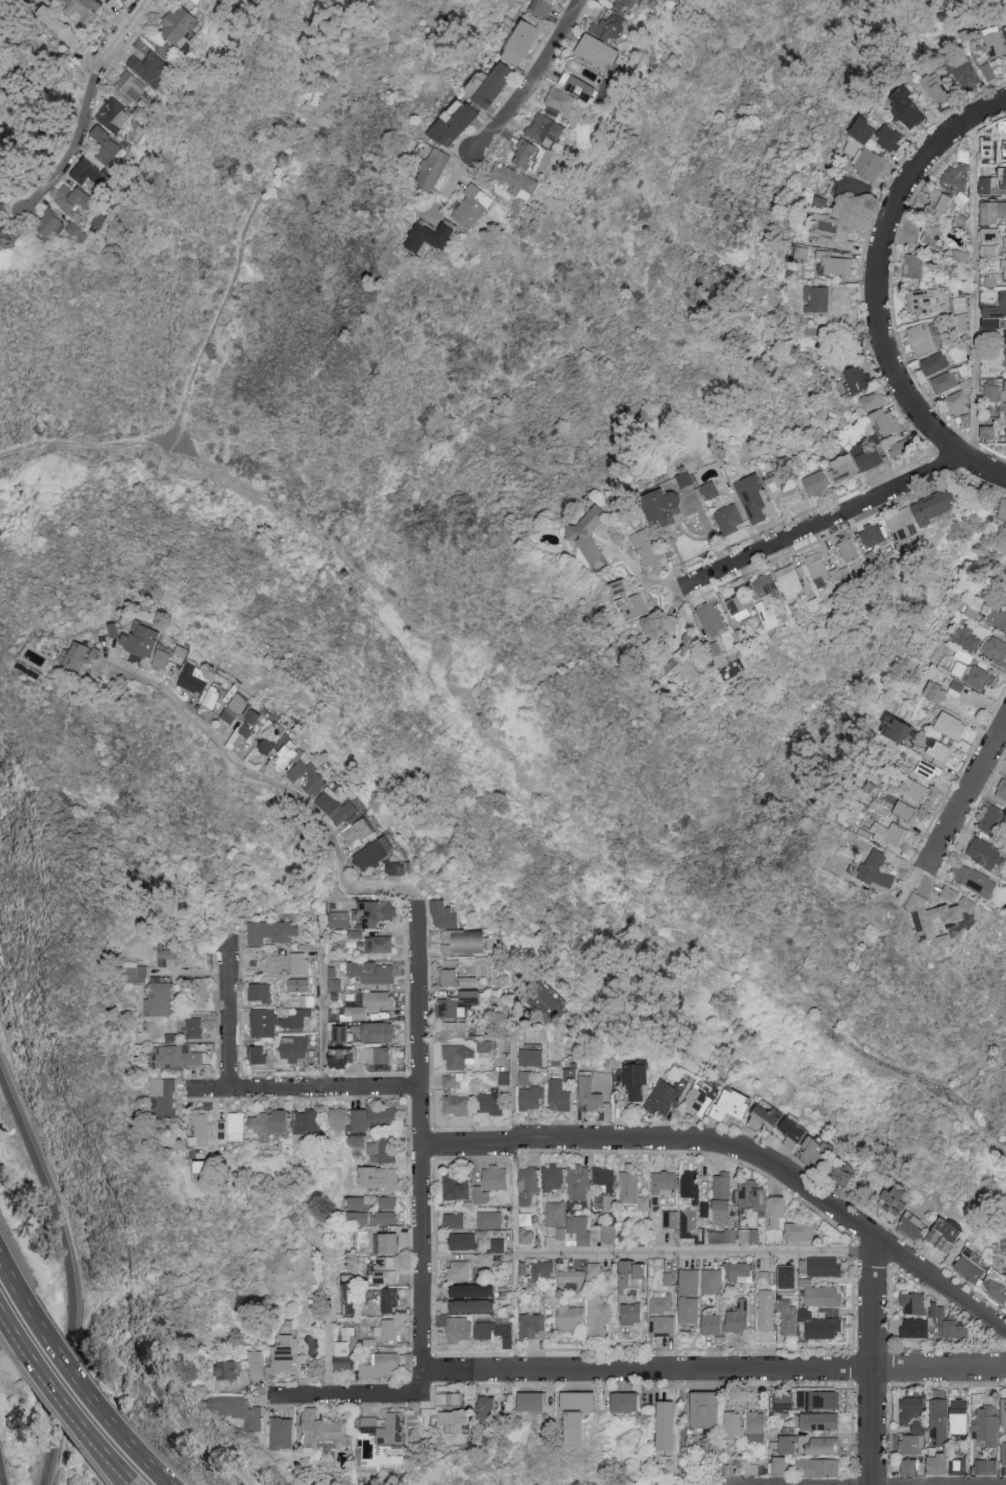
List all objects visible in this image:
building: (679, 0)
building: (199, 1)
building: (204, 1)
building: (628, 3)
building: (542, 7)
building: (87, 9)
building: (58, 25)
building: (179, 25)
building: (521, 43)
building: (598, 45)
building: (994, 45)
building: (167, 50)
building: (149, 68)
building: (987, 72)
building: (966, 75)
road: (534, 82)
building: (491, 86)
building: (577, 87)
building: (935, 89)
building: (130, 90)
building: (561, 101)
road: (90, 106)
building: (907, 109)
building: (113, 116)
building: (454, 123)
building: (1003, 126)
building: (544, 129)
building: (864, 130)
building: (889, 138)
building: (106, 145)
building: (987, 148)
building: (1004, 151)
building: (524, 154)
building: (869, 164)
building: (432, 169)
building: (957, 173)
building: (91, 174)
building: (514, 180)
building: (992, 182)
road: (449, 183)
building: (852, 191)
building: (74, 202)
building: (939, 204)
building: (471, 207)
building: (4, 211)
building: (993, 212)
building: (959, 222)
building: (56, 226)
building: (833, 232)
building: (10, 234)
building: (434, 234)
building: (930, 234)
building: (989, 235)
building: (1005, 239)
building: (992, 249)
building: (801, 253)
building: (961, 256)
building: (836, 263)
building: (914, 266)
road: (880, 270)
building: (1004, 270)
building: (992, 280)
road: (978, 293)
building: (816, 300)
building: (922, 303)
building: (958, 304)
building: (996, 307)
building: (962, 321)
building: (994, 323)
building: (1005, 336)
building: (922, 340)
building: (934, 364)
building: (856, 379)
building: (943, 383)
building: (992, 389)
building: (1004, 390)
building: (873, 402)
building: (958, 403)
building: (1003, 411)
building: (966, 421)
building: (885, 422)
building: (988, 433)
road: (86, 447)
building: (899, 449)
building: (866, 457)
building: (841, 469)
building: (683, 477)
building: (816, 484)
building: (710, 490)
building: (783, 492)
building: (752, 500)
building: (660, 504)
building: (934, 506)
building: (1002, 513)
road: (845, 514)
building: (728, 520)
building: (902, 525)
building: (871, 536)
building: (584, 544)
building: (645, 548)
building: (846, 559)
building: (817, 568)
road: (643, 576)
building: (790, 582)
building: (765, 586)
building: (630, 601)
building: (740, 608)
building: (997, 618)
building: (712, 619)
building: (668, 623)
building: (971, 635)
building: (153, 638)
building: (995, 648)
building: (103, 651)
building: (84, 654)
building: (964, 655)
building: (173, 656)
building: (686, 662)
building: (973, 676)
building: (204, 677)
building: (222, 695)
building: (932, 696)
building: (246, 706)
building: (262, 721)
building: (949, 726)
building: (900, 731)
building: (293, 750)
building: (938, 751)
building: (928, 770)
building: (313, 771)
building: (327, 784)
building: (1001, 790)
building: (915, 791)
road: (968, 793)
building: (348, 806)
building: (905, 812)
building: (993, 821)
building: (367, 833)
building: (887, 834)
building: (983, 852)
building: (380, 853)
building: (397, 867)
building: (876, 870)
building: (973, 880)
building: (376, 912)
building: (448, 913)
building: (938, 916)
building: (340, 919)
road: (419, 930)
building: (274, 931)
building: (356, 933)
road: (322, 934)
building: (468, 940)
building: (380, 943)
building: (167, 955)
building: (300, 962)
building: (374, 971)
building: (139, 973)
building: (459, 975)
building: (335, 977)
building: (300, 984)
building: (262, 991)
building: (475, 995)
building: (162, 998)
building: (547, 998)
building: (307, 1000)
building: (369, 1005)
building: (449, 1007)
road: (229, 1017)
road: (322, 1018)
building: (273, 1021)
road: (513, 1022)
building: (196, 1027)
building: (458, 1028)
building: (379, 1031)
building: (341, 1033)
building: (487, 1044)
building: (296, 1047)
building: (258, 1052)
building: (459, 1055)
building: (182, 1056)
building: (363, 1056)
building: (533, 1056)
building: (506, 1077)
building: (528, 1077)
building: (453, 1079)
building: (640, 1079)
road: (305, 1088)
building: (564, 1090)
road: (512, 1093)
building: (591, 1094)
building: (167, 1095)
building: (534, 1097)
building: (665, 1097)
building: (701, 1100)
building: (492, 1101)
building: (734, 1103)
building: (458, 1104)
building: (377, 1117)
building: (770, 1117)
building: (342, 1118)
building: (274, 1120)
building: (311, 1120)
building: (240, 1125)
building: (204, 1128)
building: (226, 1130)
building: (797, 1132)
building: (387, 1148)
building: (816, 1150)
road: (740, 1152)
building: (210, 1166)
building: (843, 1174)
building: (382, 1177)
building: (498, 1177)
building: (553, 1177)
building: (606, 1177)
road: (513, 1178)
building: (578, 1182)
building: (665, 1182)
building: (725, 1184)
building: (528, 1186)
building: (692, 1187)
building: (465, 1189)
building: (633, 1189)
building: (755, 1197)
building: (899, 1199)
building: (609, 1201)
building: (356, 1202)
building: (390, 1202)
building: (707, 1209)
building: (725, 1209)
building: (555, 1213)
building: (780, 1216)
building: (359, 1217)
building: (390, 1217)
building: (671, 1218)
building: (456, 1219)
building: (491, 1219)
building: (693, 1225)
building: (915, 1225)
building: (591, 1230)
building: (803, 1230)
building: (947, 1234)
building: (724, 1235)
building: (751, 1235)
building: (527, 1236)
building: (464, 1240)
building: (389, 1242)
building: (500, 1244)
road: (693, 1251)
building: (488, 1258)
road: (515, 1263)
building: (827, 1265)
building: (973, 1266)
building: (544, 1268)
building: (596, 1268)
building: (390, 1269)
building: (462, 1270)
building: (740, 1271)
road: (70, 1273)
building: (635, 1275)
building: (791, 1276)
building: (574, 1277)
building: (690, 1280)
building: (713, 1280)
road: (16, 1283)
building: (999, 1286)
building: (477, 1290)
building: (823, 1293)
building: (353, 1298)
building: (392, 1299)
building: (664, 1303)
building: (917, 1303)
building: (478, 1305)
building: (691, 1309)
building: (767, 1309)
building: (635, 1312)
building: (601, 1313)
building: (741, 1316)
building: (574, 1317)
building: (790, 1317)
building: (952, 1321)
building: (716, 1323)
building: (535, 1325)
building: (666, 1325)
building: (821, 1325)
building: (919, 1327)
building: (462, 1328)
building: (390, 1329)
road: (12, 1330)
building: (499, 1331)
road: (517, 1341)
road: (330, 1348)
building: (349, 1348)
building: (291, 1357)
road: (871, 1358)
road: (66, 1363)
building: (386, 1364)
building: (261, 1365)
building: (231, 1368)
road: (716, 1370)
road: (426, 1380)
road: (56, 1393)
building: (460, 1398)
road: (350, 1399)
building: (820, 1399)
building: (786, 1400)
building: (538, 1401)
building: (630, 1401)
building: (492, 1406)
building: (241, 1409)
building: (707, 1409)
building: (916, 1412)
building: (584, 1413)
building: (966, 1416)
building: (460, 1420)
building: (823, 1421)
building: (942, 1421)
building: (374, 1424)
building: (737, 1424)
building: (669, 1425)
building: (759, 1425)
building: (399, 1428)
building: (328, 1430)
building: (286, 1432)
road: (92, 1440)
building: (916, 1443)
building: (793, 1444)
building: (824, 1445)
road: (137, 1449)
building: (711, 1453)
road: (118, 1464)
building: (962, 1464)
road: (109, 1465)
building: (784, 1466)
building: (821, 1466)
building: (991, 1466)
building: (914, 1467)
building: (754, 1468)
road: (862, 1481)

